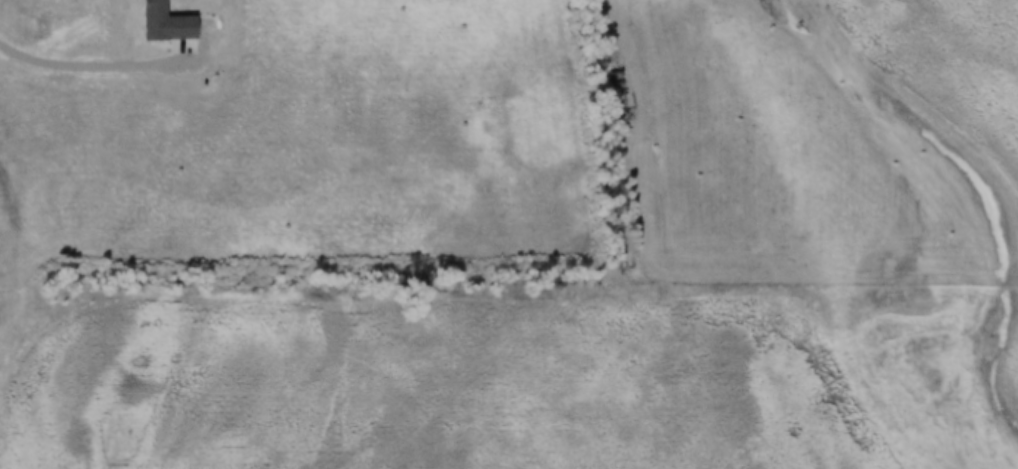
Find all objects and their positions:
building: (159, 22)

